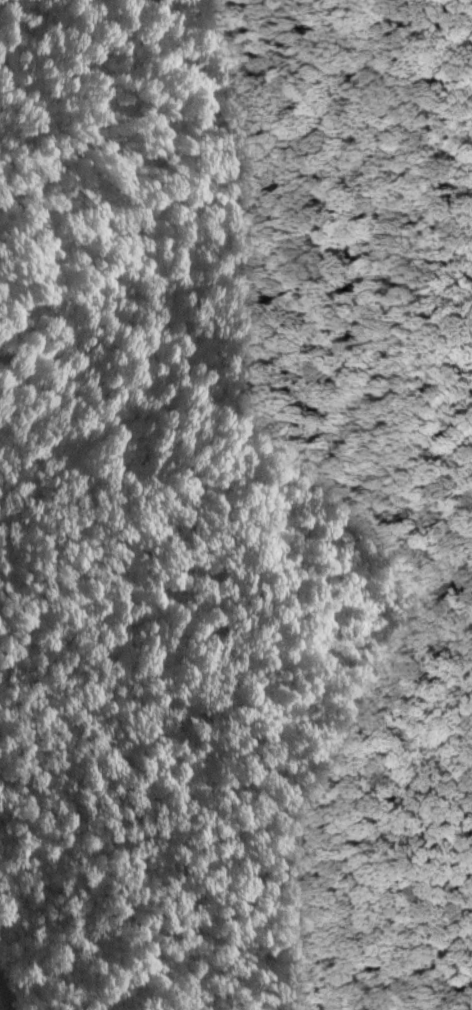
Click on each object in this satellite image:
road: (8, 993)

